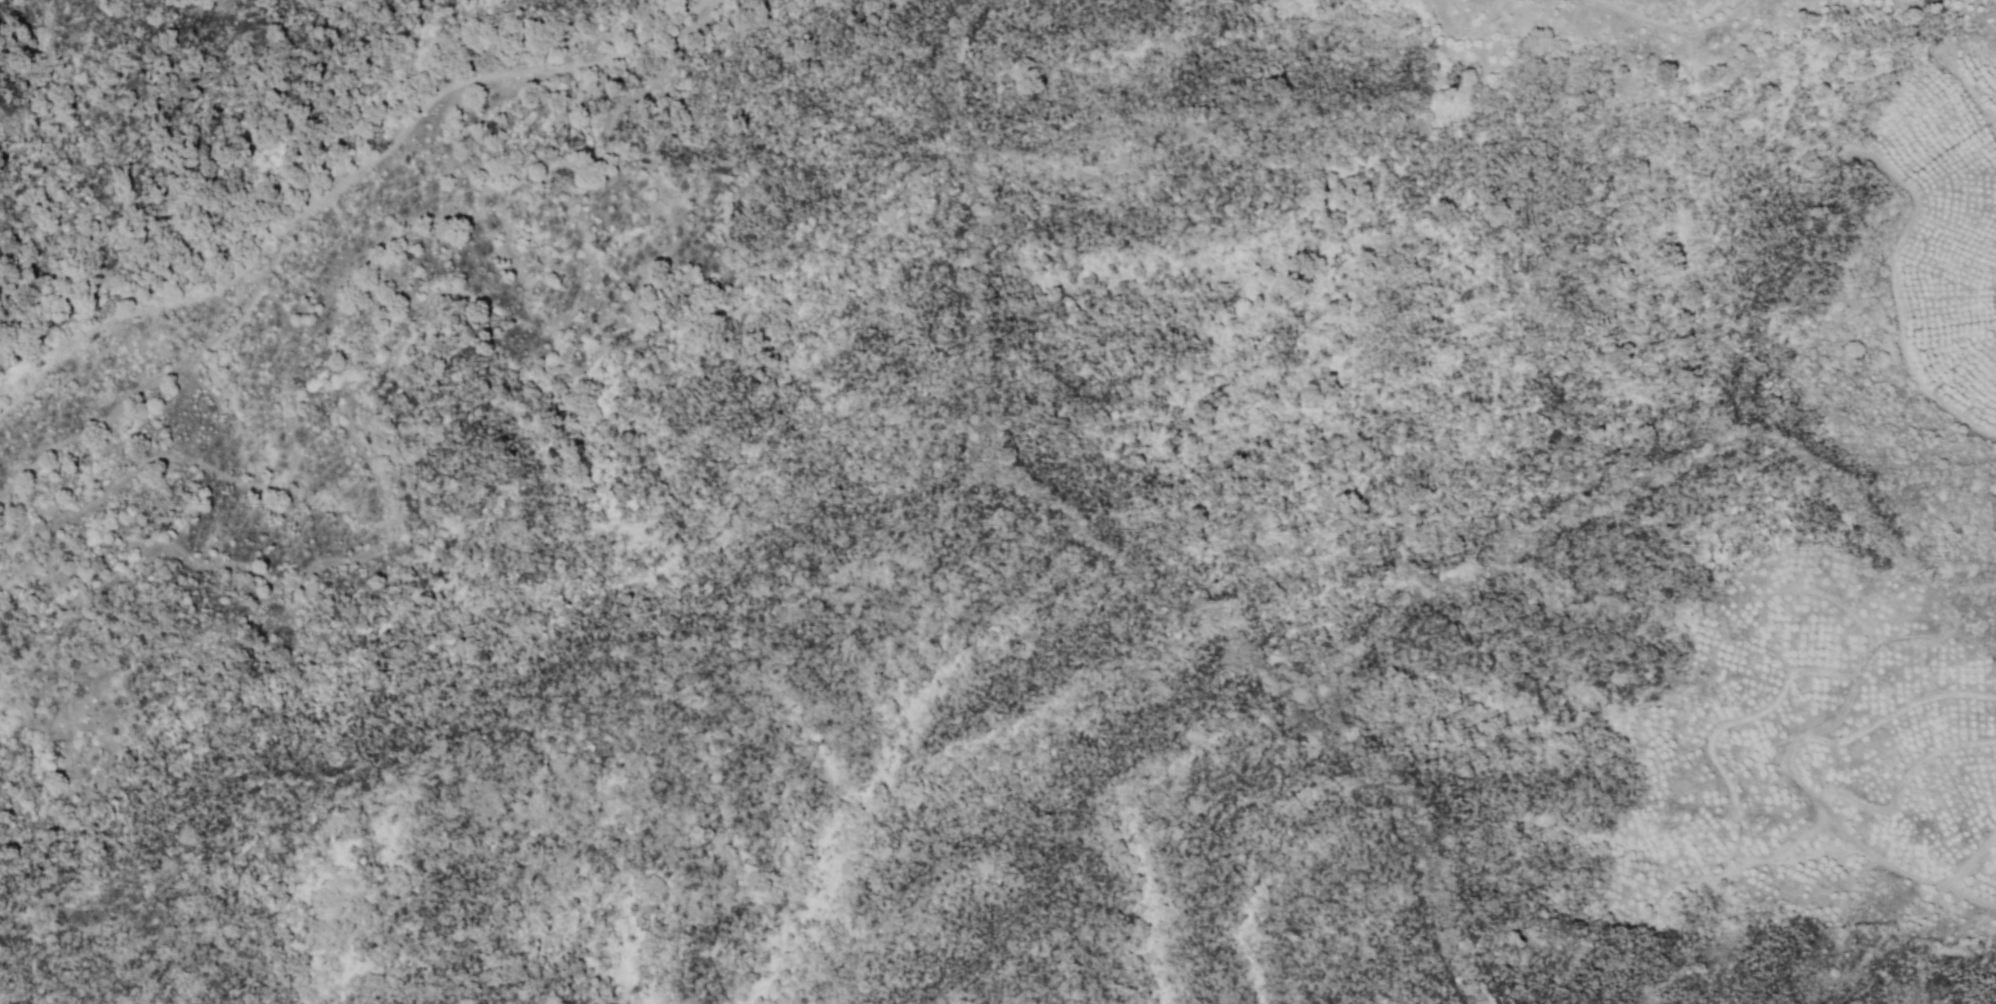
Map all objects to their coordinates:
crop: (1974, 202)
crop: (1835, 753)

